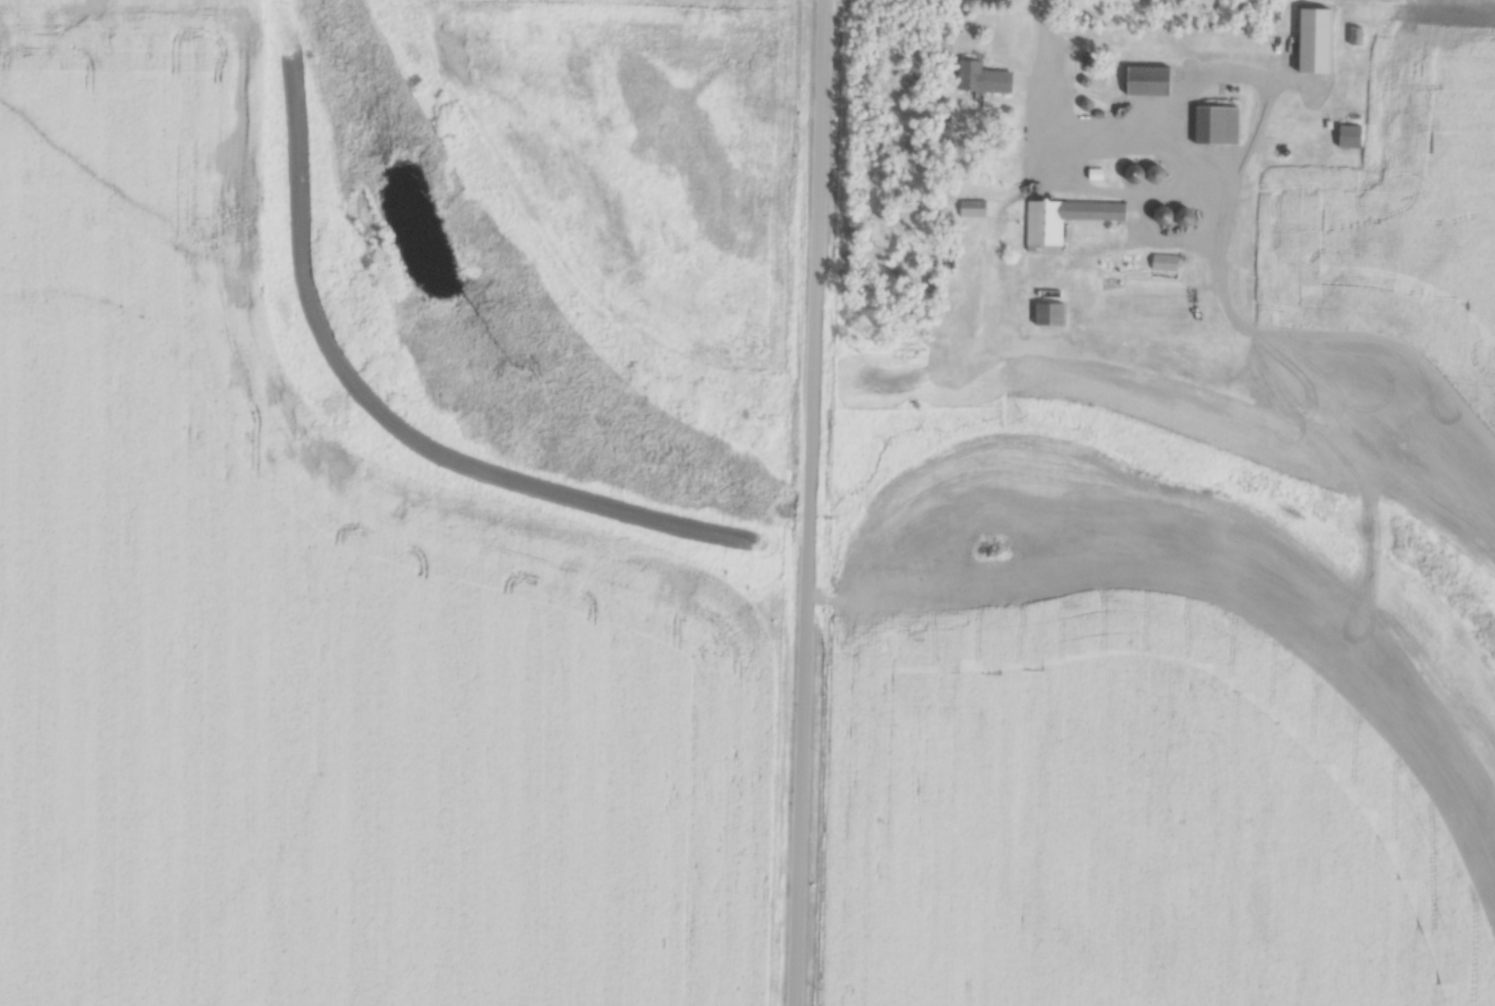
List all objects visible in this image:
building: (1354, 36)
building: (979, 78)
building: (1145, 82)
road: (1051, 123)
building: (1214, 126)
building: (1346, 137)
building: (1150, 174)
building: (972, 209)
building: (1064, 219)
building: (1163, 264)
road: (815, 267)
building: (1047, 315)
road: (801, 770)

